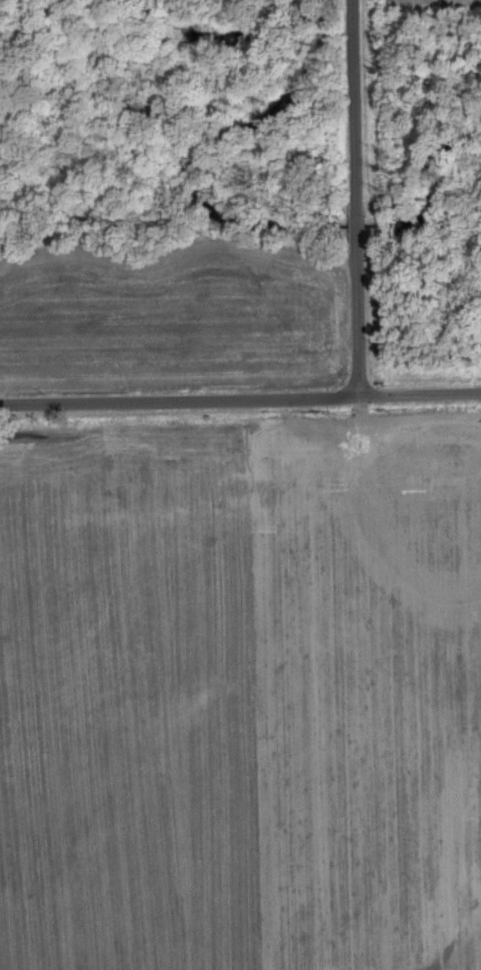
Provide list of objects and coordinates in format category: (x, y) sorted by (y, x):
road: (355, 101)
road: (357, 221)
road: (357, 320)
road: (240, 402)

